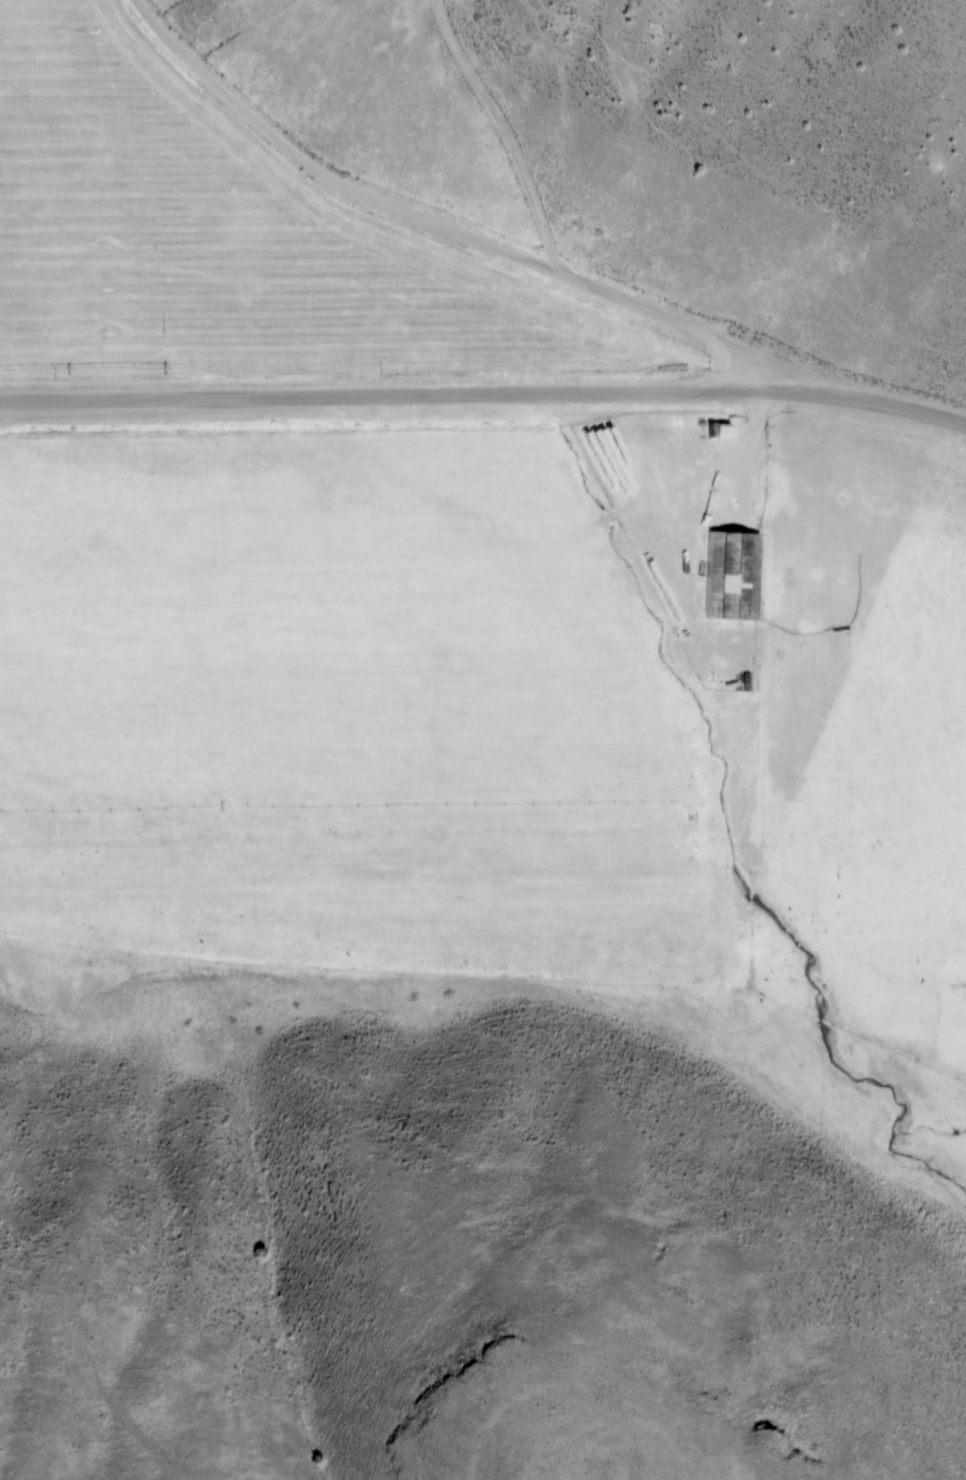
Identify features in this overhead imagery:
road: (467, 232)
road: (724, 366)
road: (484, 394)
building: (730, 576)

